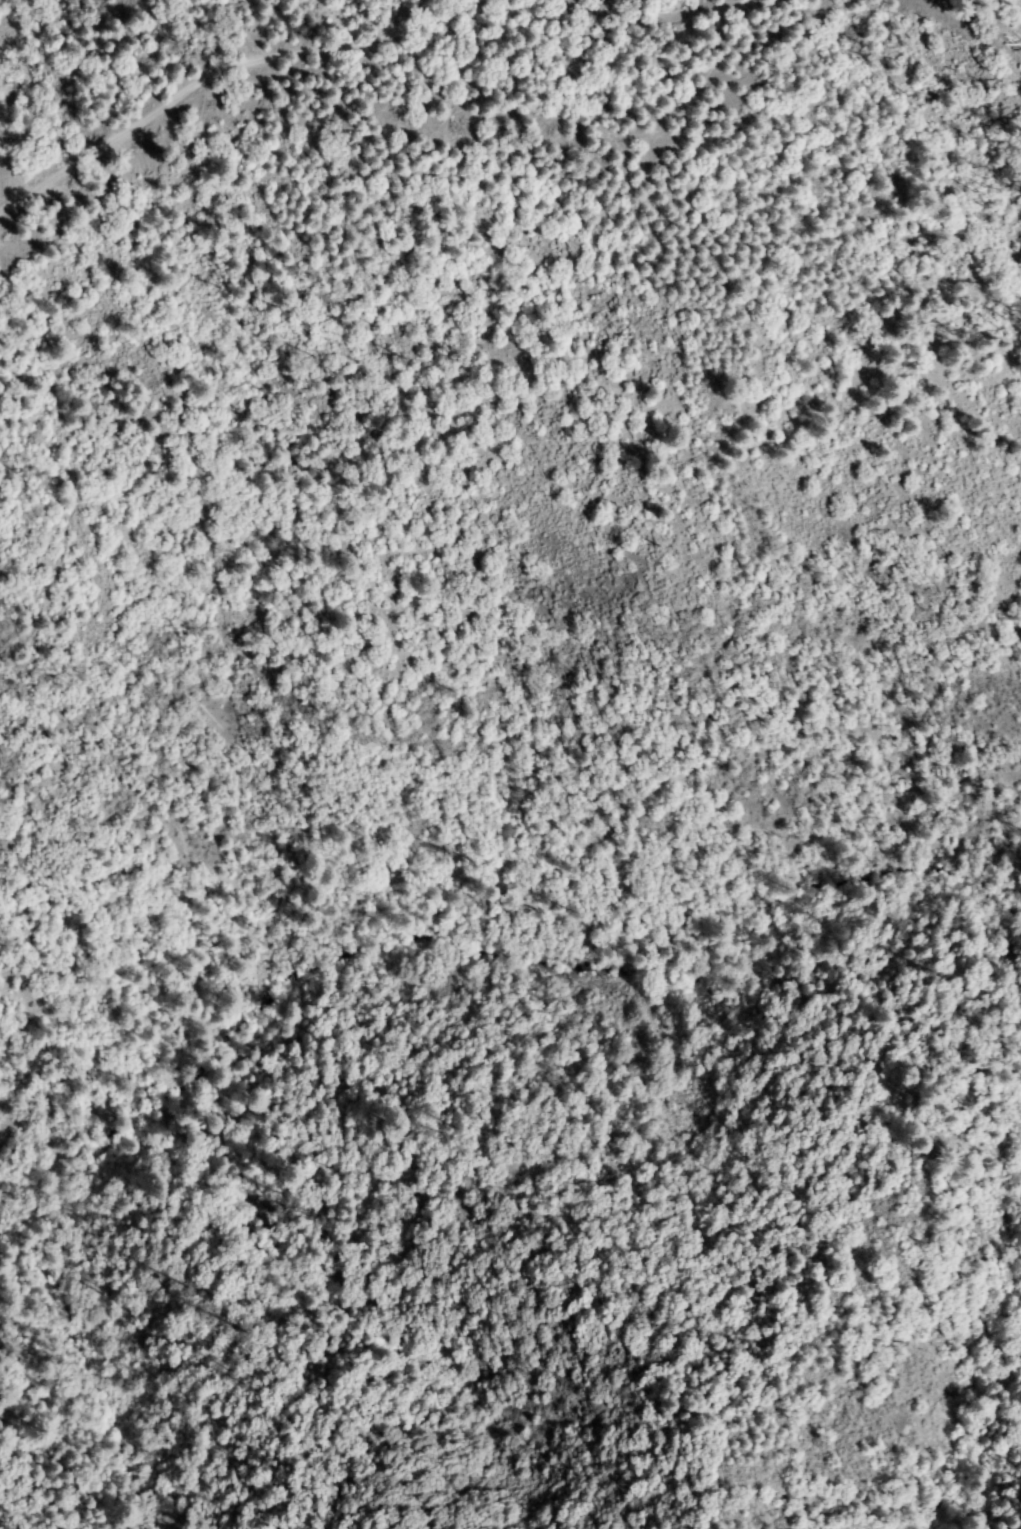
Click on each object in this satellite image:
road: (995, 11)
road: (358, 55)

